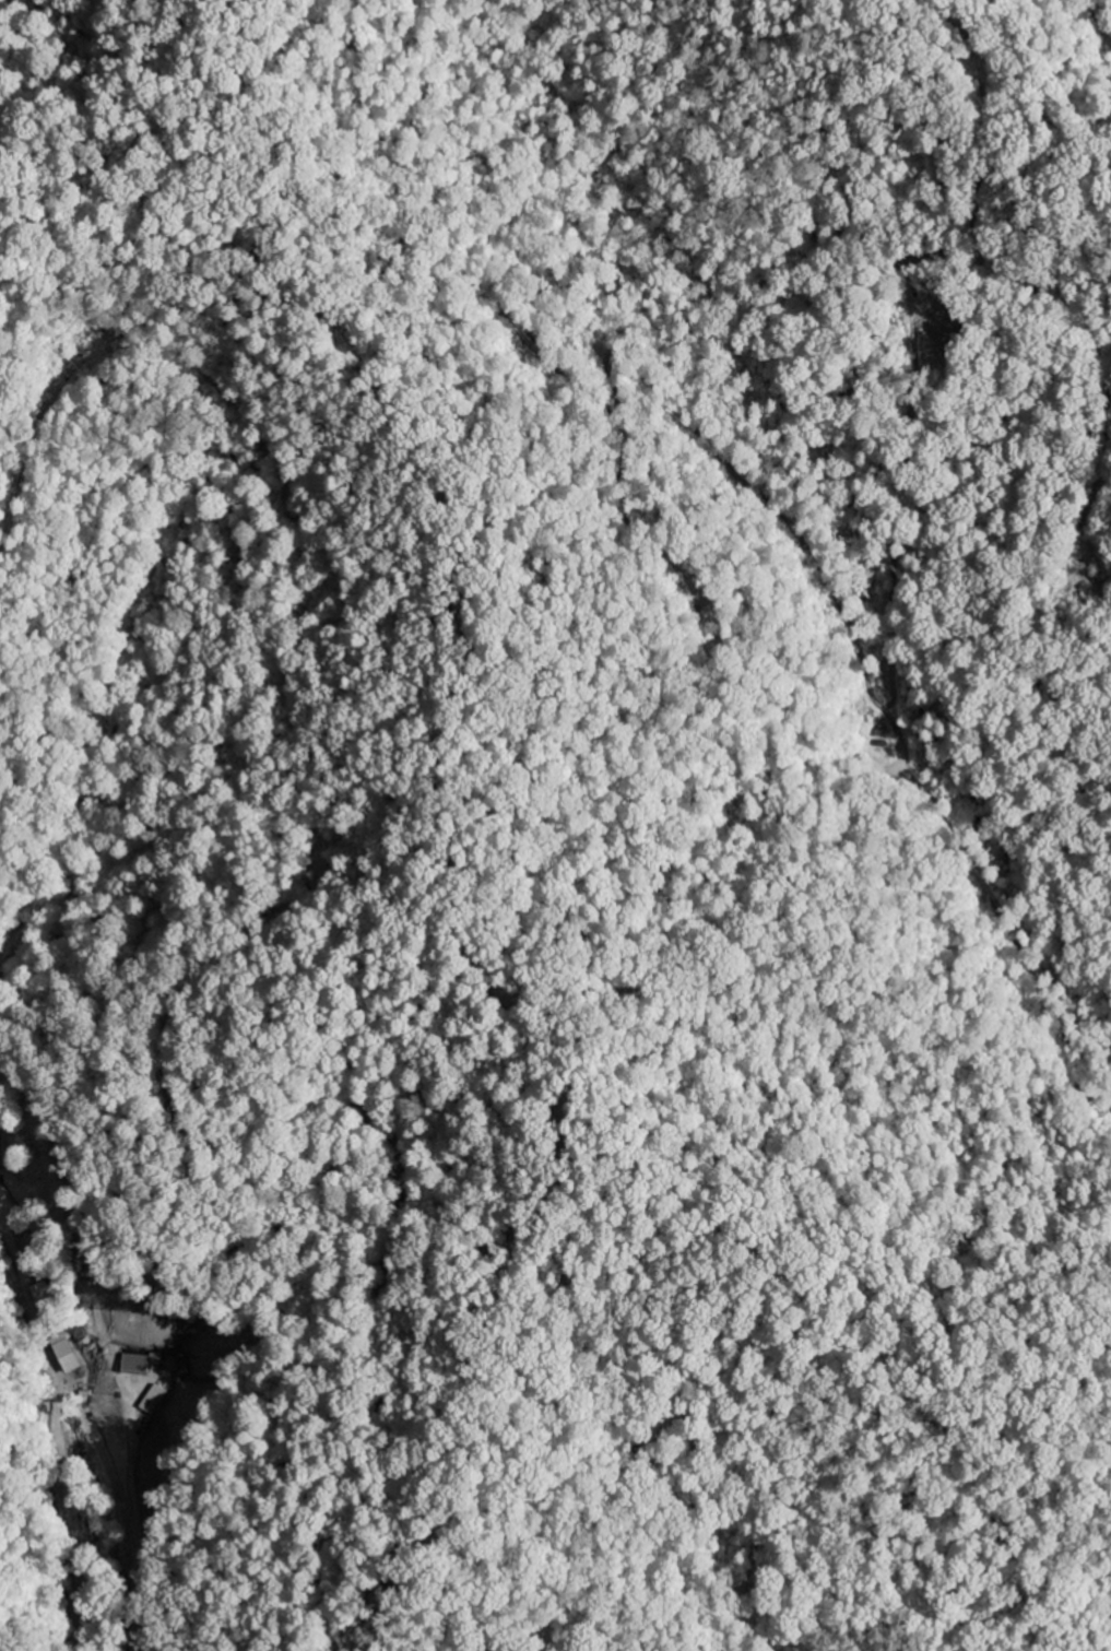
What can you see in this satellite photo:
building: (63, 1357)
building: (150, 1400)

